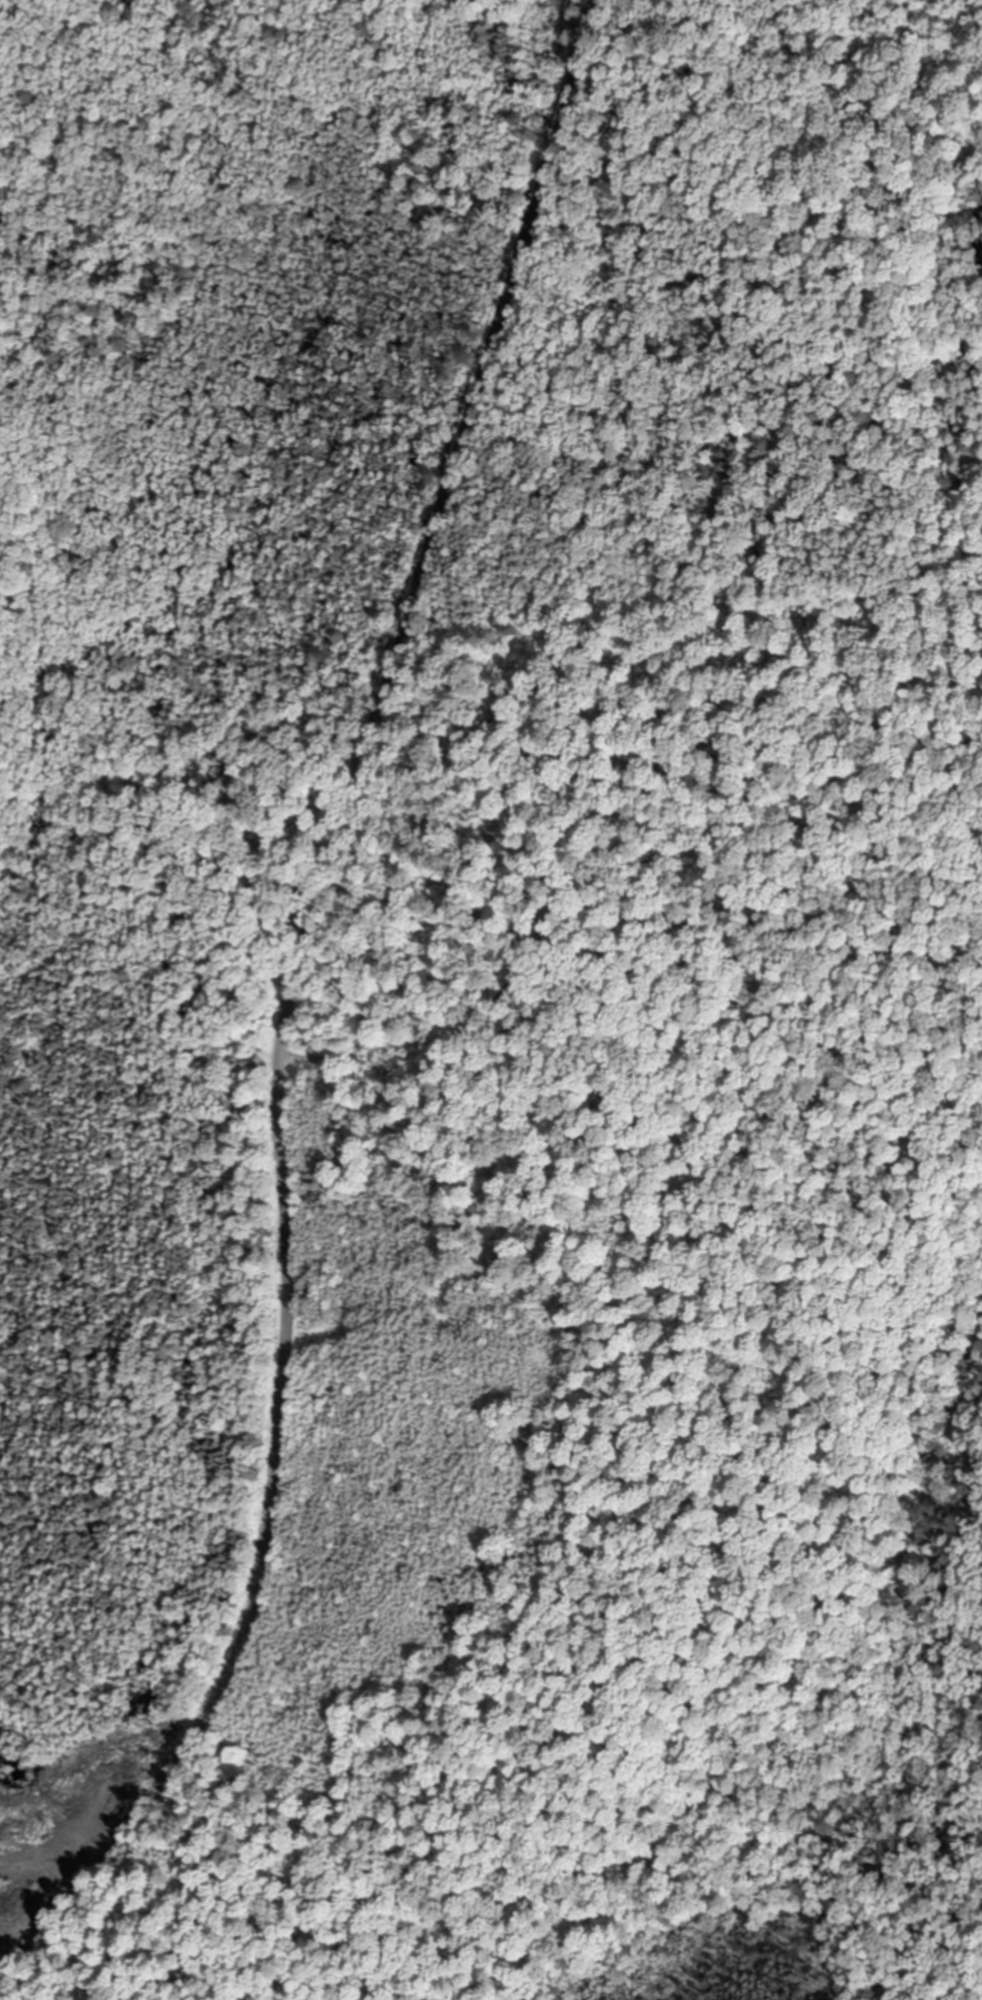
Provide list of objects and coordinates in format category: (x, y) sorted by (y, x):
road: (287, 1003)

